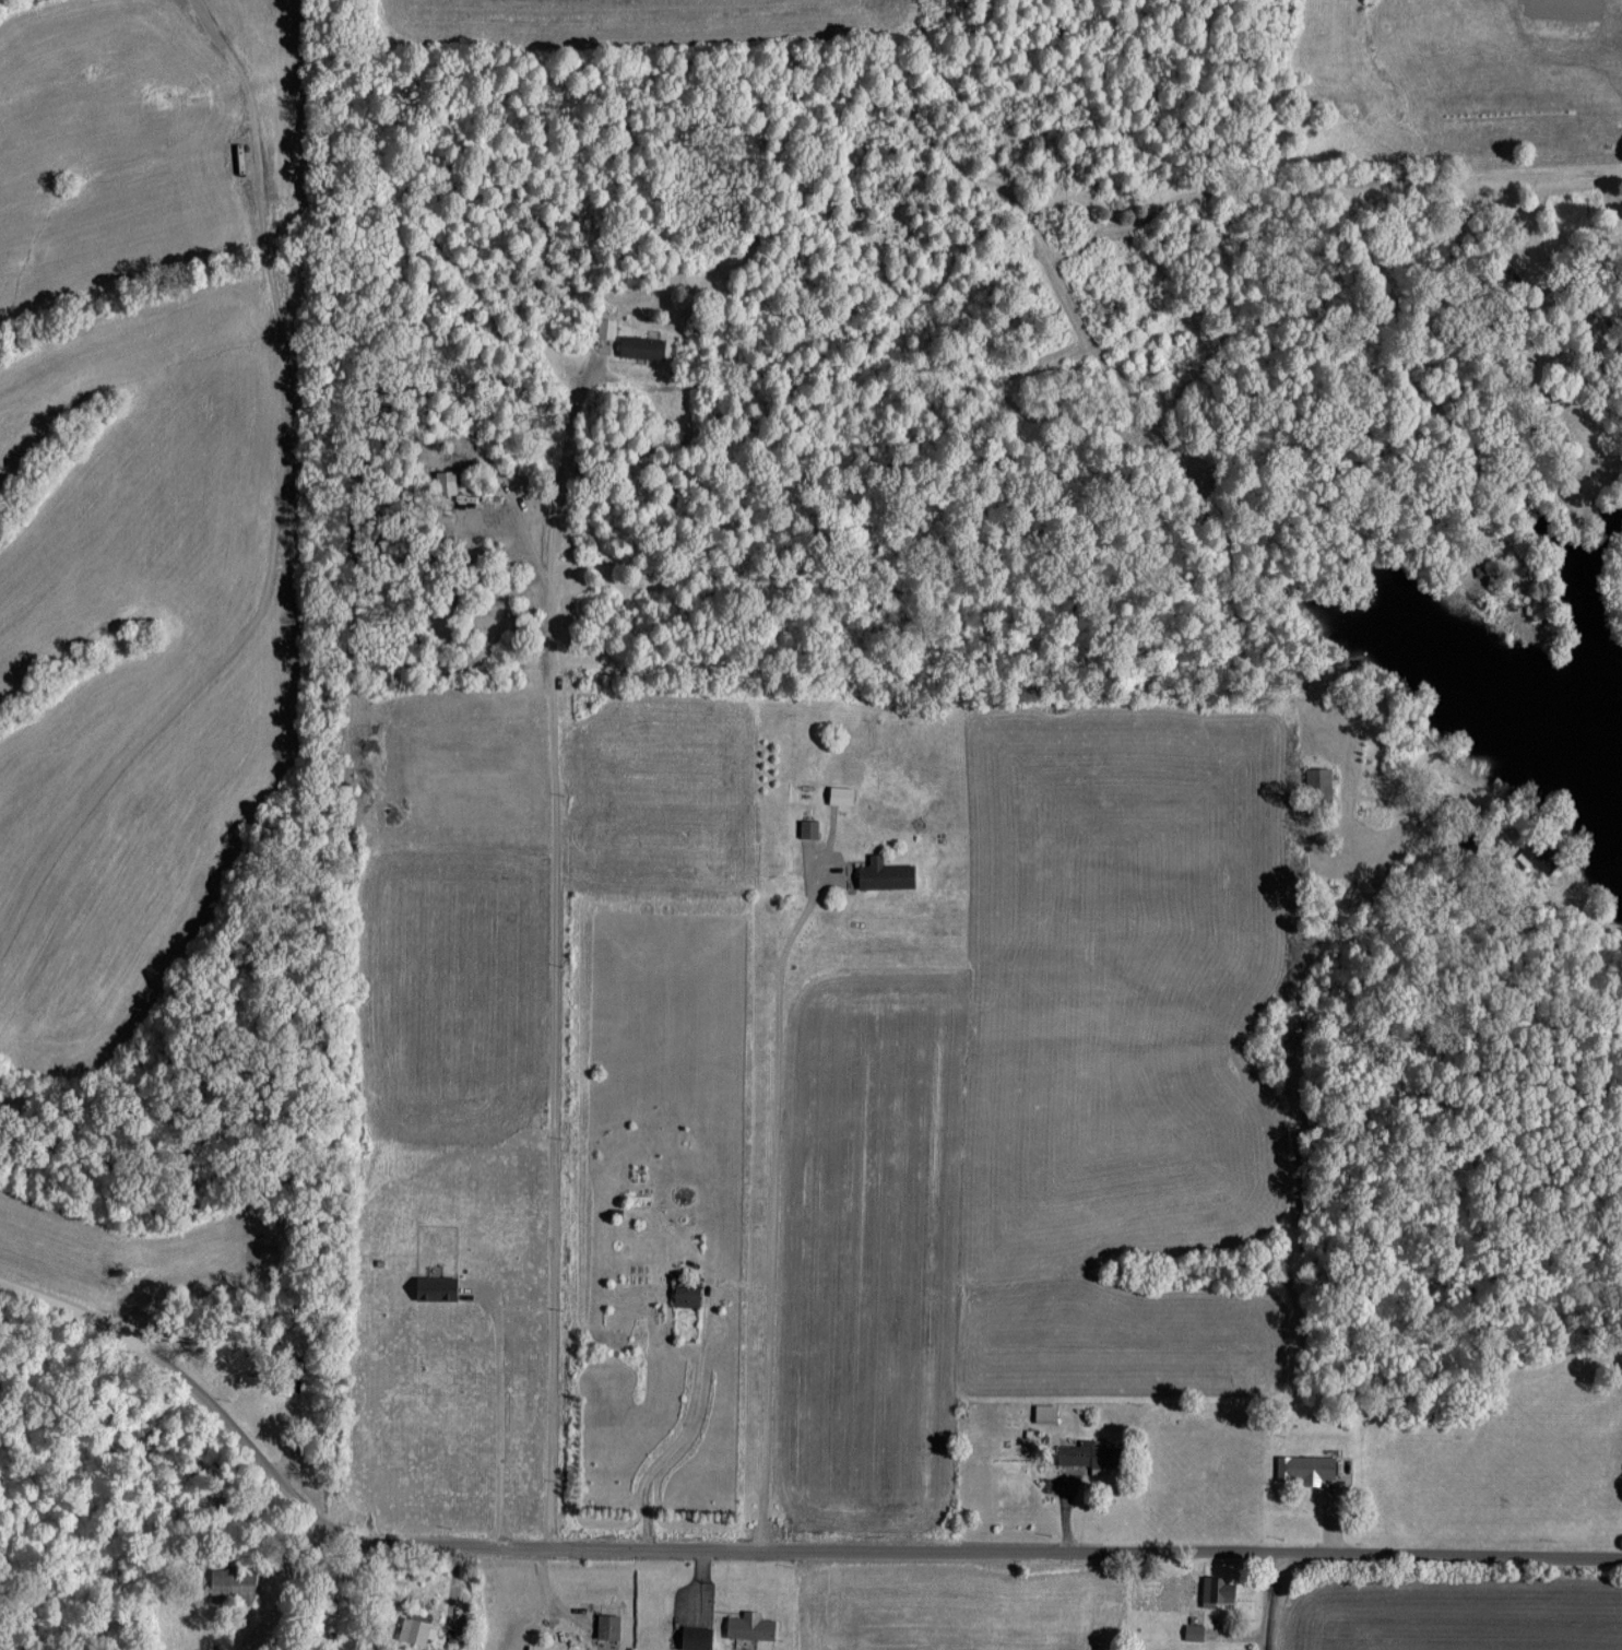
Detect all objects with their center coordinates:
building: (640, 346)
building: (445, 483)
building: (1319, 782)
building: (840, 794)
building: (808, 828)
building: (1535, 858)
building: (885, 875)
road: (550, 953)
road: (770, 1207)
building: (435, 1287)
building: (685, 1294)
building: (1044, 1413)
road: (498, 1421)
building: (1087, 1454)
building: (1305, 1468)
road: (763, 1554)
building: (1216, 1590)
road: (1258, 1607)
building: (606, 1625)
building: (748, 1625)
building: (415, 1629)
building: (1193, 1631)
building: (695, 1637)

